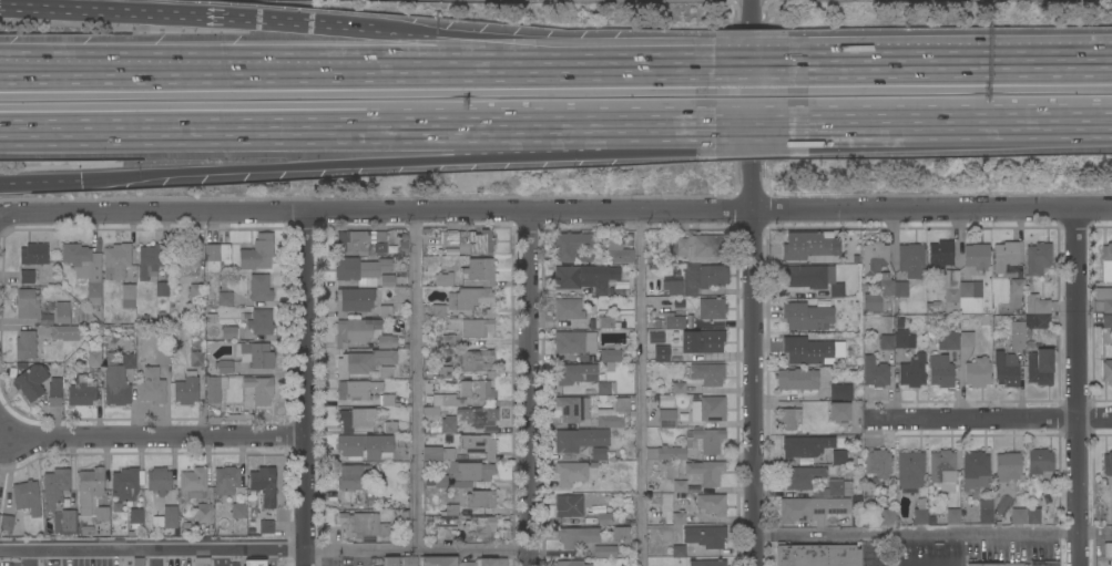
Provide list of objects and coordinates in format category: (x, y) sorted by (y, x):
road: (185, 19)
road: (509, 47)
road: (948, 59)
road: (684, 62)
road: (753, 62)
road: (81, 68)
road: (405, 68)
road: (81, 74)
road: (945, 124)
road: (751, 125)
road: (361, 128)
road: (387, 159)
road: (39, 184)
road: (555, 212)
building: (397, 235)
building: (404, 237)
building: (468, 239)
building: (361, 241)
building: (404, 245)
building: (571, 246)
building: (805, 246)
building: (389, 248)
building: (698, 249)
building: (449, 251)
building: (257, 253)
building: (402, 253)
building: (619, 253)
building: (34, 254)
building: (977, 256)
building: (1006, 256)
building: (218, 257)
building: (588, 257)
building: (939, 257)
building: (875, 258)
building: (1038, 258)
building: (185, 260)
building: (911, 260)
building: (116, 261)
building: (150, 261)
building: (1106, 263)
building: (85, 268)
building: (365, 271)
building: (480, 271)
building: (27, 277)
building: (585, 278)
building: (703, 278)
building: (814, 279)
building: (442, 280)
road: (753, 282)
building: (614, 286)
building: (673, 286)
building: (951, 287)
building: (1017, 287)
building: (259, 288)
building: (162, 289)
building: (970, 289)
building: (614, 292)
building: (657, 292)
building: (884, 295)
building: (127, 297)
building: (195, 297)
building: (224, 298)
building: (1104, 298)
building: (471, 299)
building: (357, 300)
building: (681, 302)
building: (1037, 305)
building: (931, 306)
building: (30, 307)
building: (568, 309)
building: (712, 309)
building: (439, 310)
building: (62, 313)
building: (806, 316)
building: (673, 319)
building: (261, 321)
building: (1108, 321)
building: (605, 322)
building: (615, 323)
building: (470, 327)
building: (1026, 327)
building: (356, 331)
building: (67, 332)
building: (229, 333)
building: (1106, 337)
building: (656, 338)
building: (902, 338)
building: (967, 340)
building: (387, 341)
building: (702, 341)
building: (574, 342)
building: (887, 342)
building: (948, 342)
building: (25, 344)
building: (406, 346)
building: (447, 347)
building: (806, 350)
building: (662, 353)
building: (196, 354)
building: (255, 354)
building: (94, 356)
building: (162, 357)
building: (610, 357)
building: (476, 361)
building: (364, 362)
building: (224, 367)
building: (1040, 367)
building: (1006, 370)
building: (912, 371)
building: (940, 371)
building: (1106, 371)
building: (386, 372)
building: (445, 372)
building: (875, 372)
building: (977, 372)
building: (573, 373)
building: (707, 373)
building: (118, 377)
building: (797, 379)
building: (32, 382)
road: (416, 382)
building: (152, 387)
road: (1077, 387)
building: (215, 388)
building: (606, 388)
building: (679, 388)
building: (186, 389)
road: (307, 389)
road: (528, 389)
road: (641, 389)
building: (259, 390)
building: (357, 390)
building: (476, 390)
building: (54, 392)
building: (81, 392)
building: (840, 392)
building: (387, 400)
building: (443, 400)
building: (665, 400)
building: (460, 402)
building: (573, 409)
building: (708, 409)
building: (839, 411)
building: (613, 414)
road: (994, 414)
building: (478, 416)
building: (683, 416)
building: (360, 418)
building: (666, 419)
building: (788, 419)
building: (448, 424)
building: (389, 428)
road: (154, 439)
building: (580, 440)
building: (478, 445)
building: (690, 445)
building: (366, 446)
building: (805, 446)
building: (438, 454)
building: (599, 454)
building: (838, 457)
building: (878, 464)
building: (1040, 464)
building: (1108, 464)
building: (1008, 466)
building: (943, 470)
building: (910, 471)
building: (704, 472)
building: (975, 472)
building: (571, 473)
building: (461, 475)
building: (353, 480)
building: (159, 481)
building: (226, 481)
building: (815, 482)
building: (193, 483)
building: (125, 484)
building: (264, 485)
building: (679, 486)
building: (55, 487)
building: (27, 497)
building: (91, 498)
building: (480, 500)
building: (594, 500)
building: (73, 502)
building: (253, 503)
building: (711, 504)
building: (116, 506)
building: (569, 506)
building: (238, 508)
building: (451, 510)
building: (812, 510)
building: (920, 511)
building: (986, 512)
building: (204, 513)
building: (952, 515)
building: (887, 516)
building: (1018, 516)
building: (1033, 516)
building: (135, 517)
building: (679, 517)
building: (166, 518)
building: (604, 518)
building: (443, 519)
building: (589, 519)
building: (856, 519)
building: (7, 522)
building: (65, 523)
building: (17, 525)
building: (186, 525)
building: (261, 527)
building: (363, 527)
building: (477, 528)
building: (446, 532)
building: (131, 533)
building: (621, 533)
road: (934, 535)
building: (578, 536)
building: (705, 536)
road: (153, 543)
building: (1108, 549)
building: (679, 550)
road: (418, 552)
building: (604, 552)
road: (27, 554)
road: (155, 554)
building: (817, 555)
building: (409, 560)
building: (439, 560)
building: (387, 562)
building: (484, 563)
building: (571, 563)
building: (707, 563)
building: (983, 564)
building: (1043, 564)
building: (1111, 564)
road: (929, 565)
road: (947, 565)
building: (1013, 565)

